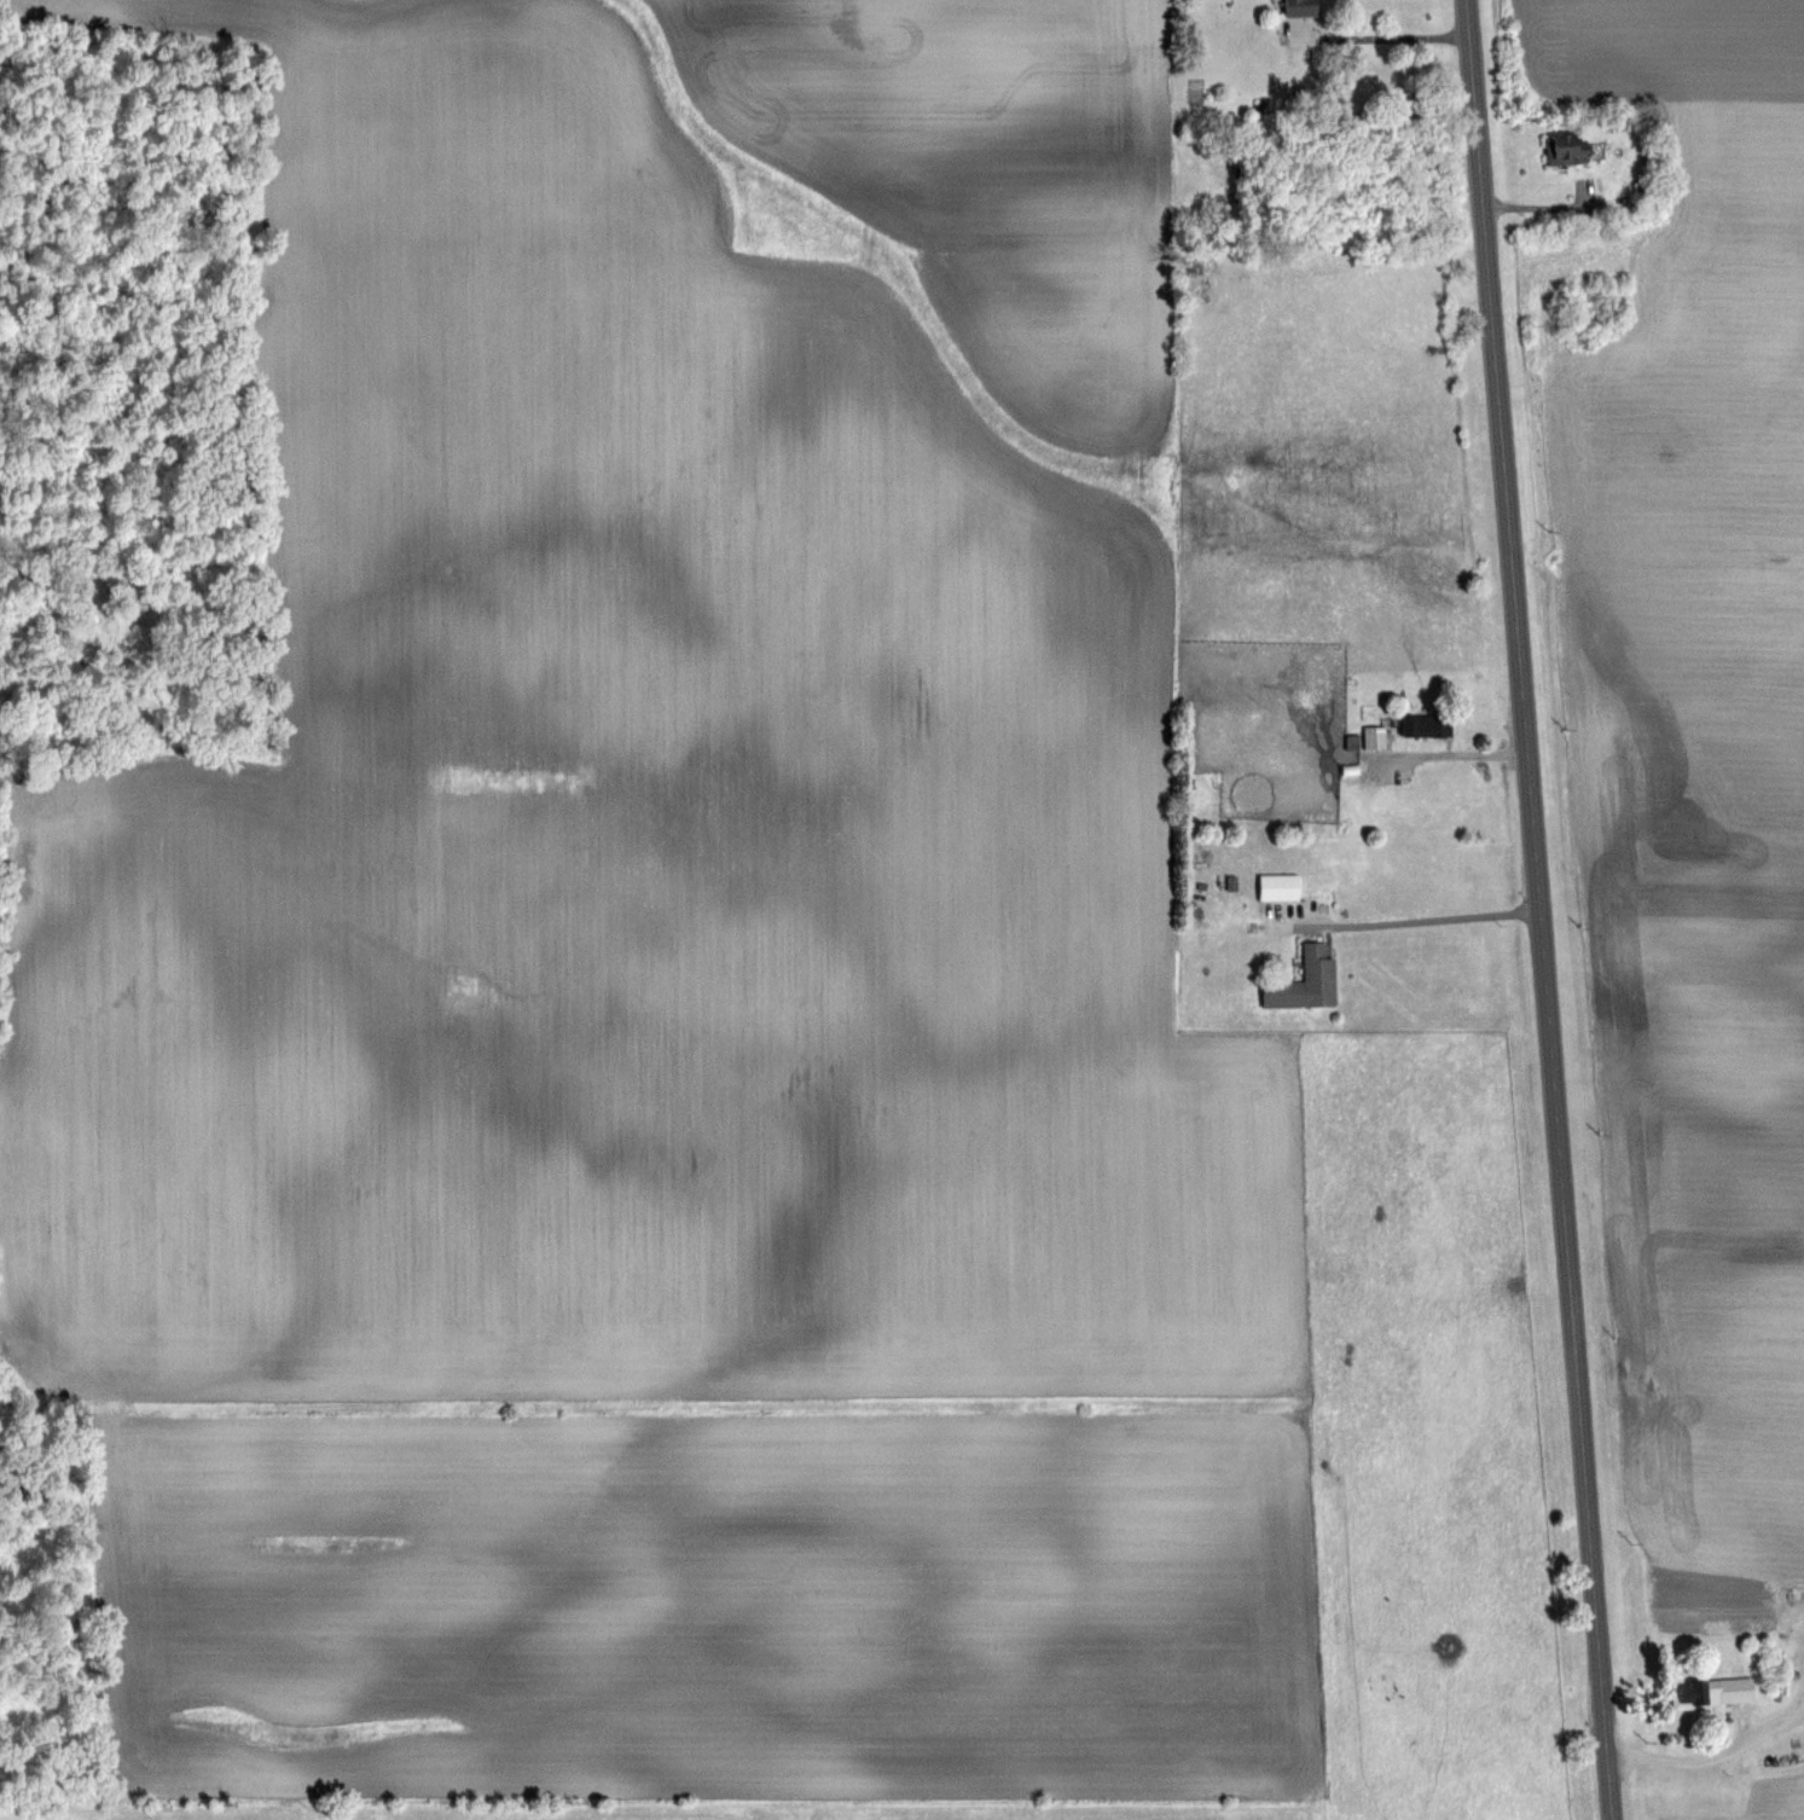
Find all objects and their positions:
building: (1300, 7)
road: (1379, 34)
building: (1564, 150)
building: (1645, 195)
road: (1553, 207)
building: (1426, 726)
building: (1375, 736)
building: (1353, 740)
road: (1449, 754)
building: (1278, 887)
road: (1543, 910)
road: (1433, 916)
building: (1316, 978)
building: (1712, 1693)
road: (1712, 1757)

